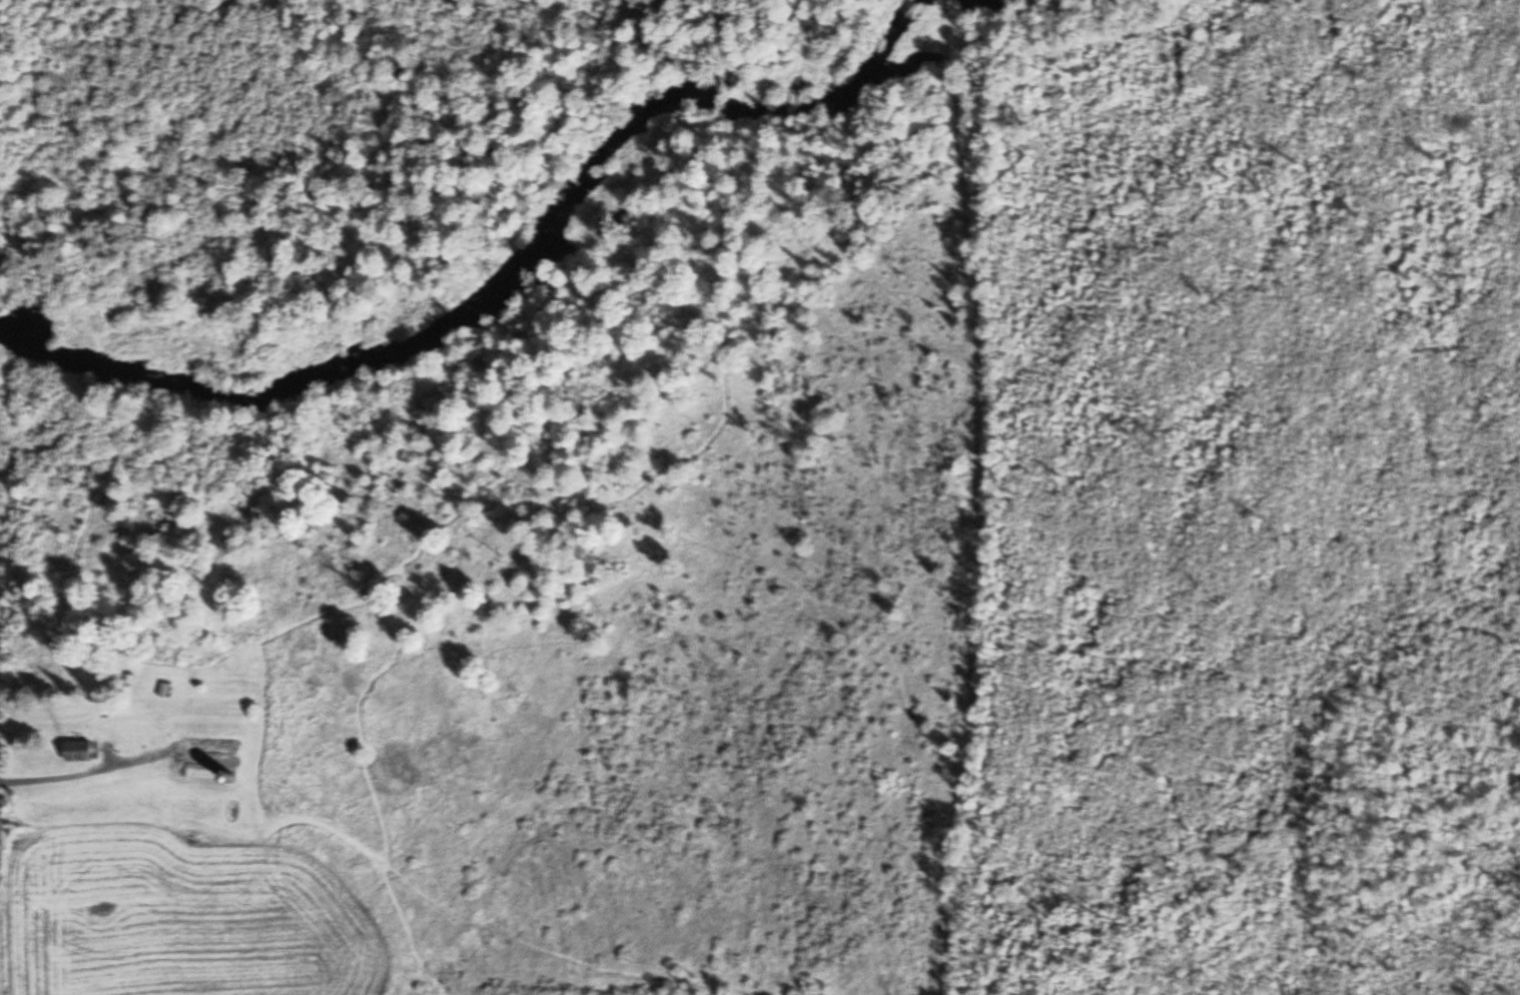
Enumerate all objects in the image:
building: (86, 753)
building: (218, 756)

